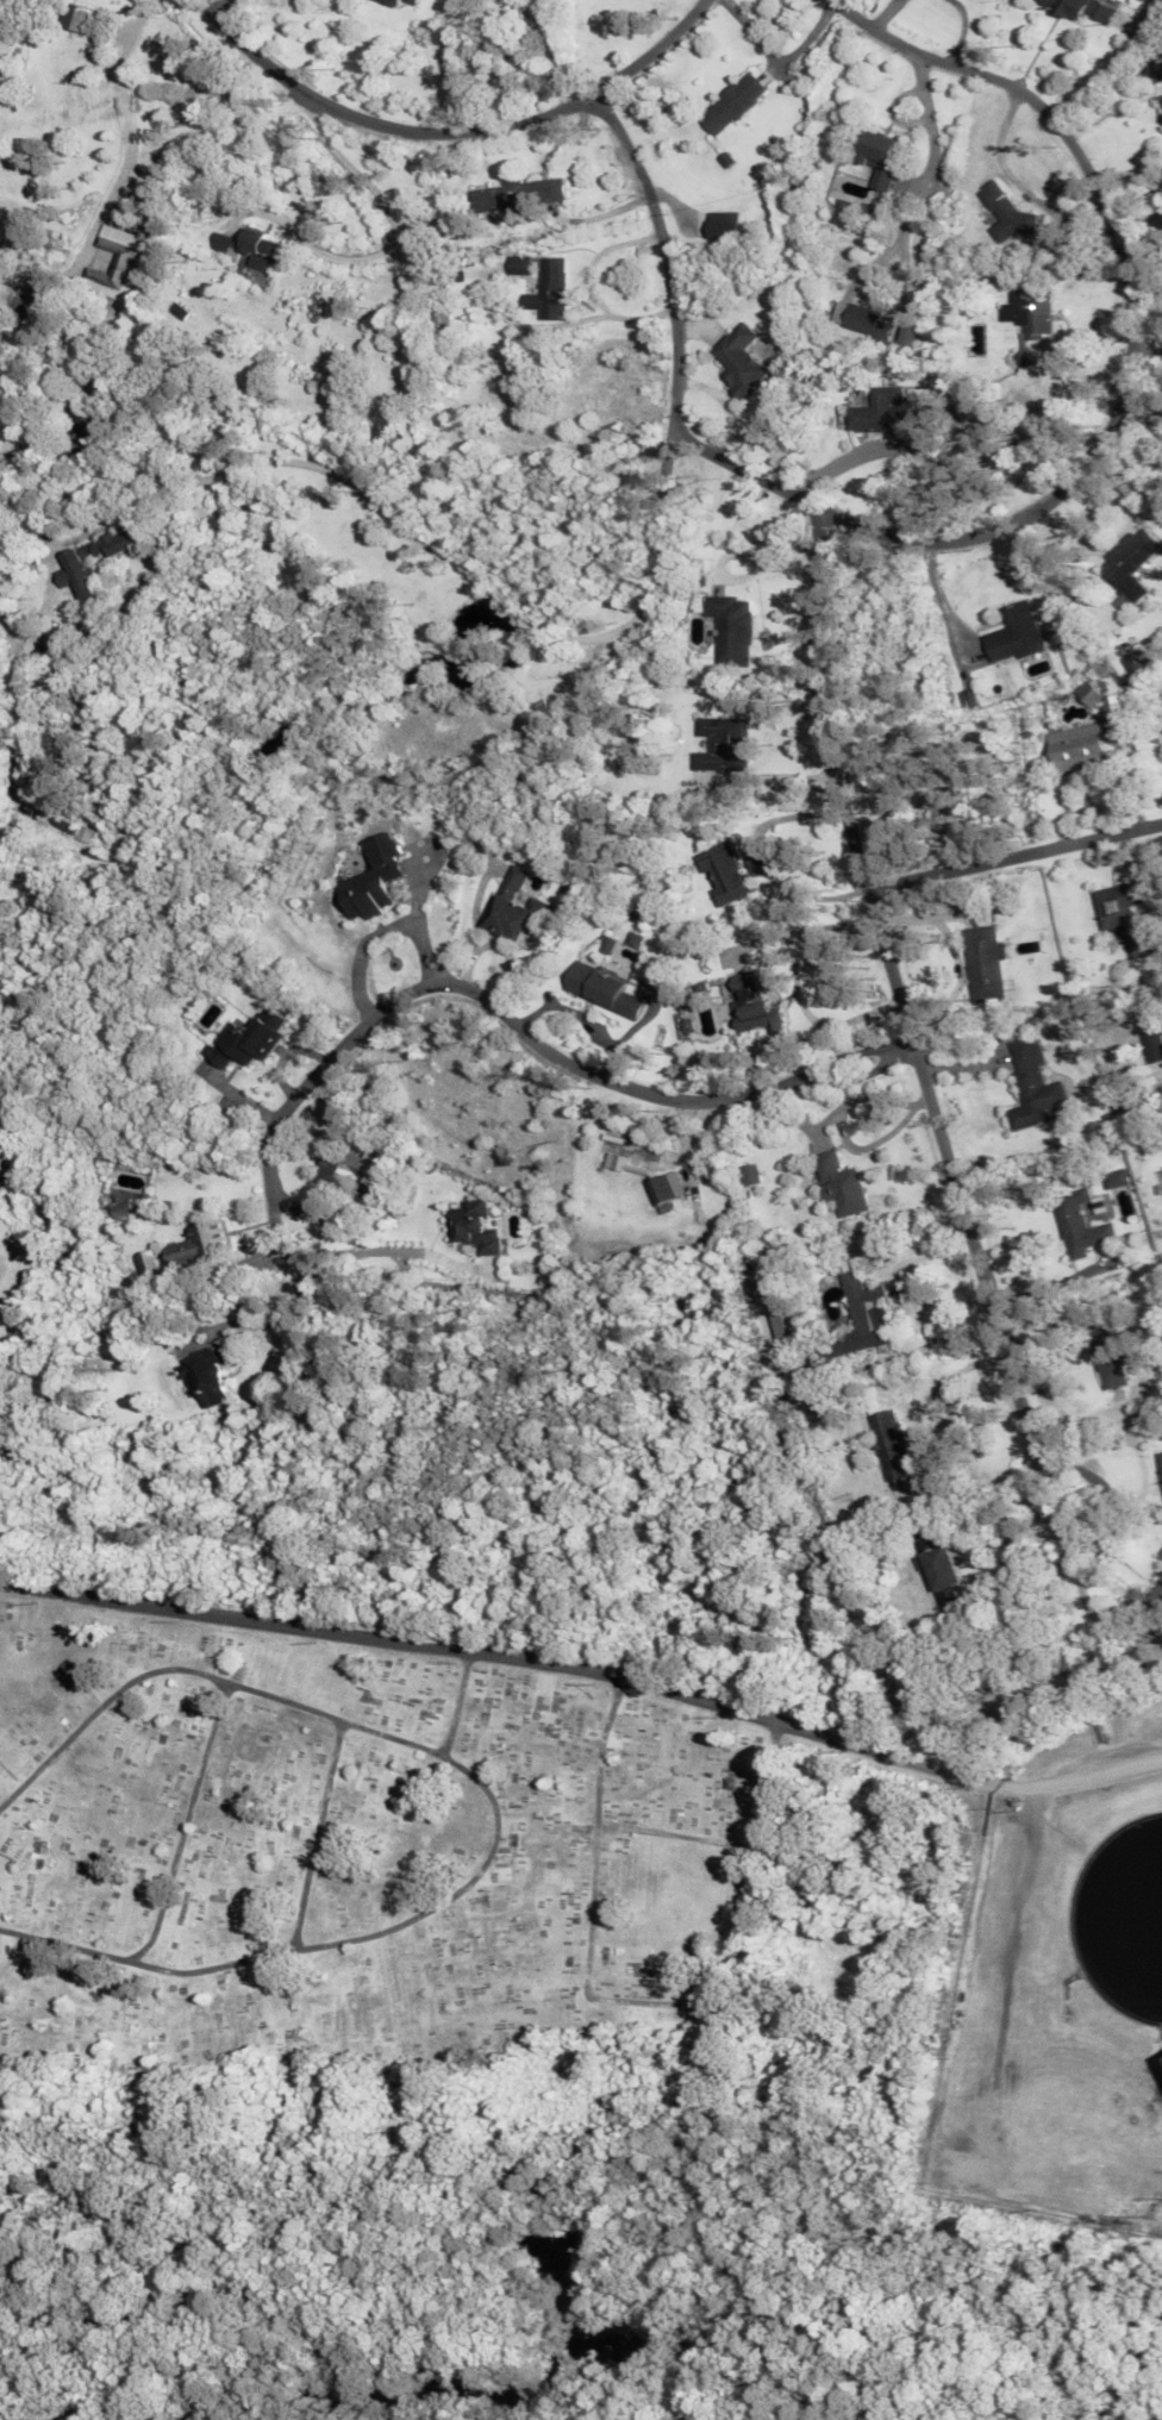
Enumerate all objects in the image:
road: (317, 5)
road: (226, 8)
road: (452, 131)
road: (669, 271)
park: (11, 343)
road: (1127, 388)
road: (342, 474)
road: (1016, 851)
road: (897, 974)
road: (862, 1071)
road: (312, 1080)
road: (650, 1093)
road: (333, 1233)
park: (27, 1267)
road: (1111, 1518)
road: (583, 1663)
road: (495, 1801)
road: (187, 1824)
road: (318, 1833)
park: (357, 1857)

